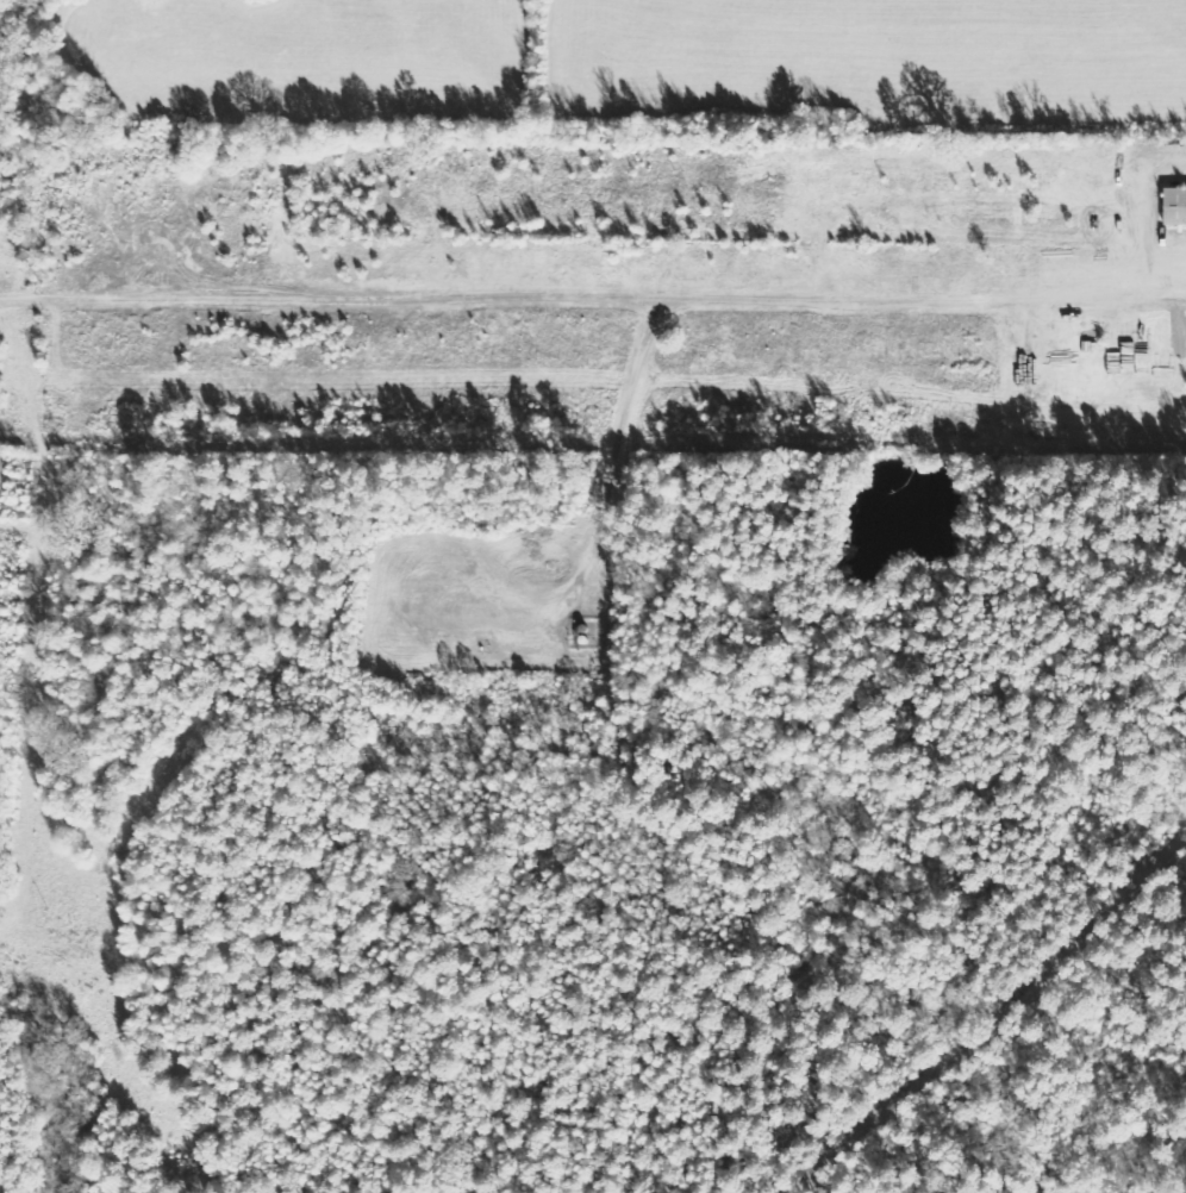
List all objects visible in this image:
building: (1173, 206)
road: (593, 301)

